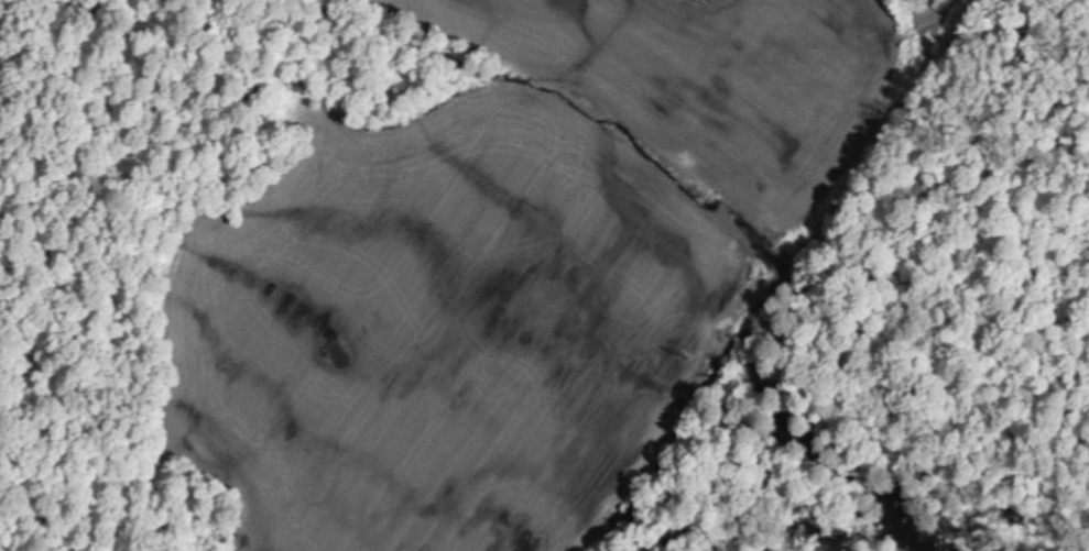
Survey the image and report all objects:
power tower: (708, 352)

